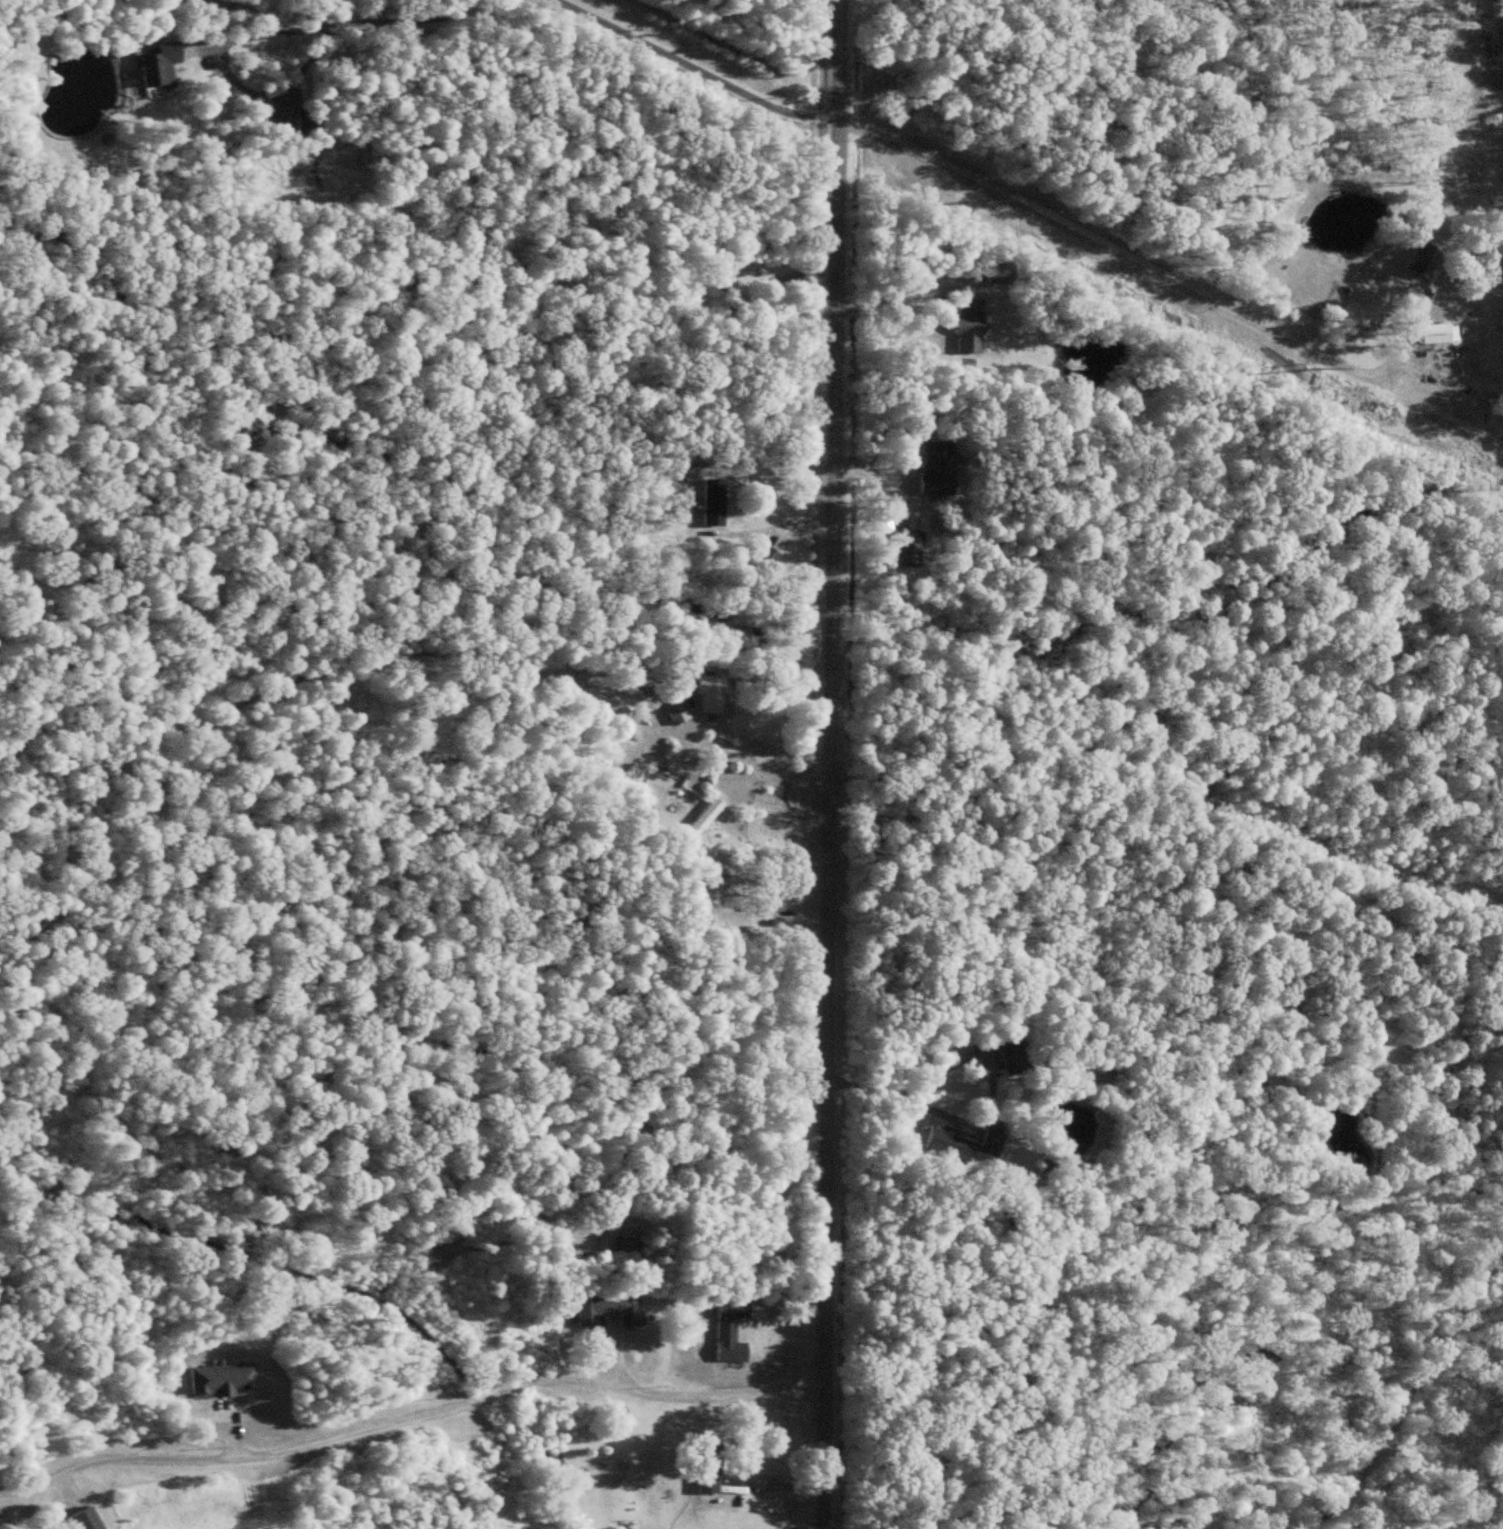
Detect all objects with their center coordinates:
road: (345, 25)
power tower: (650, 25)
building: (163, 67)
road: (695, 69)
building: (295, 128)
power tower: (987, 192)
road: (1117, 260)
building: (716, 273)
road: (788, 278)
road: (907, 289)
building: (964, 326)
power tower: (1308, 362)
building: (933, 470)
building: (770, 491)
building: (900, 549)
building: (766, 560)
building: (708, 695)
building: (672, 708)
road: (755, 763)
road: (834, 764)
building: (701, 822)
building: (764, 906)
building: (961, 1141)
building: (622, 1244)
building: (557, 1245)
building: (604, 1311)
building: (726, 1332)
building: (223, 1379)
road: (452, 1406)
building: (702, 1467)
road: (38, 1473)
building: (89, 1520)

